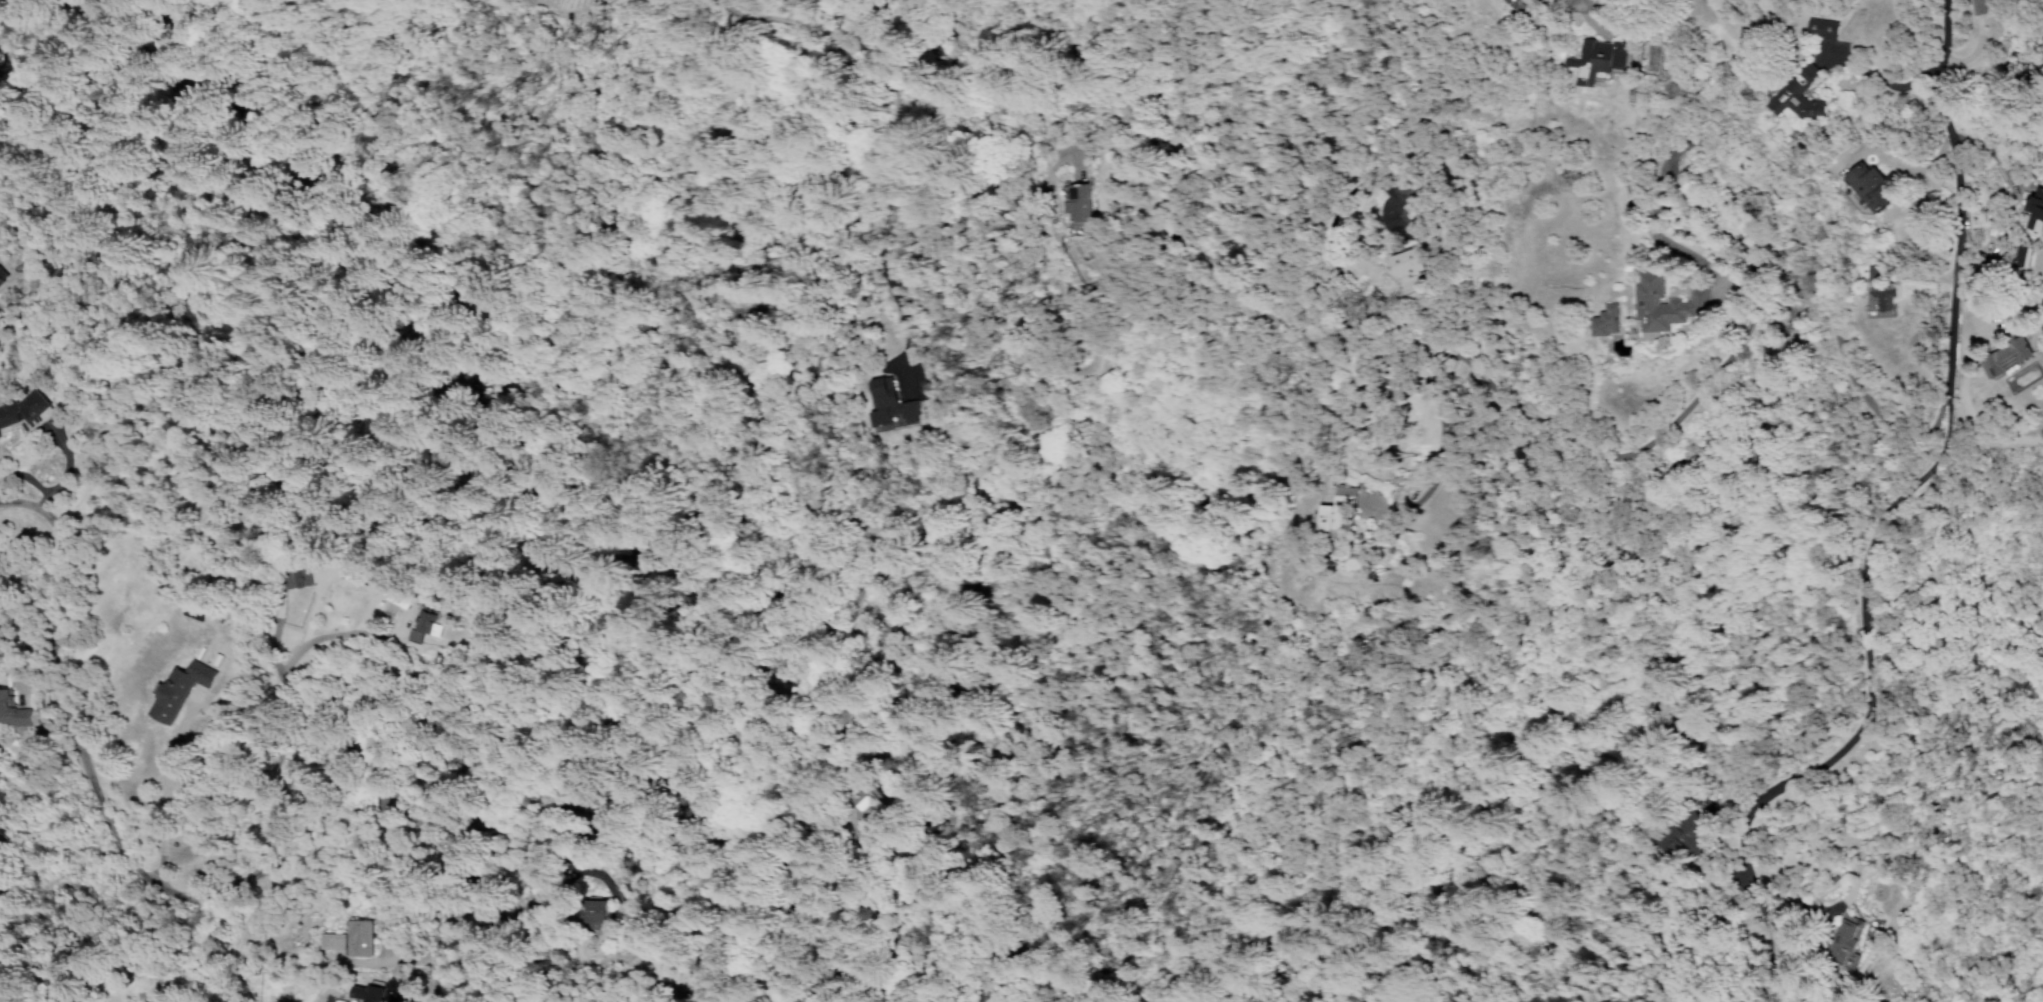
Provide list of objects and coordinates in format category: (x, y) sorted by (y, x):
building: (1978, 6)
building: (1820, 28)
building: (1597, 59)
road: (1937, 64)
building: (1796, 95)
road: (1687, 142)
building: (1867, 186)
building: (1077, 203)
building: (2033, 210)
building: (2023, 256)
building: (1866, 272)
building: (2, 277)
road: (1696, 282)
road: (885, 286)
building: (1880, 300)
building: (1686, 301)
road: (953, 308)
building: (1605, 320)
road: (1083, 327)
building: (2005, 358)
building: (889, 404)
building: (23, 412)
road: (1996, 436)
crop: (756, 445)
road: (62, 472)
building: (1336, 512)
road: (847, 537)
building: (297, 577)
building: (421, 626)
building: (178, 689)
road: (263, 703)
building: (11, 710)
road: (1864, 733)
road: (170, 760)
building: (849, 793)
building: (853, 799)
road: (103, 813)
road: (557, 830)
building: (1683, 838)
road: (408, 899)
building: (590, 913)
building: (360, 939)
building: (333, 941)
building: (1844, 941)
building: (369, 993)

